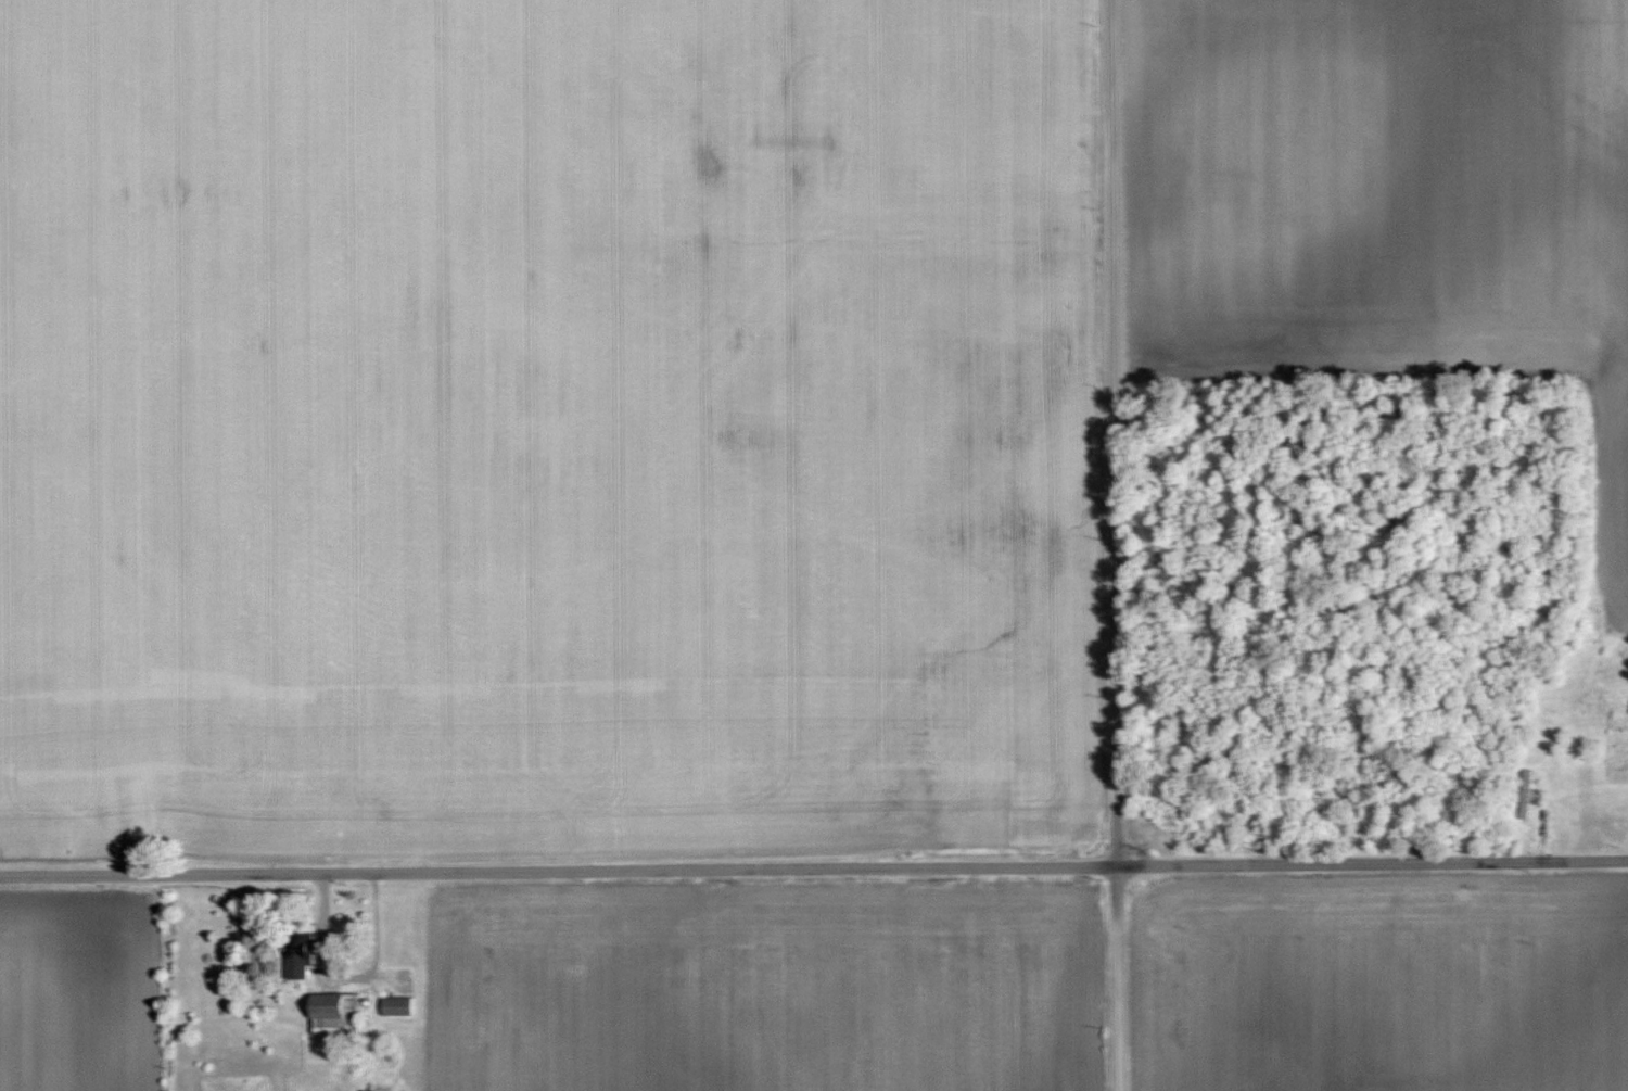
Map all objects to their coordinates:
road: (1114, 545)
building: (1526, 794)
road: (814, 867)
building: (297, 954)
building: (397, 1006)
building: (335, 1013)

